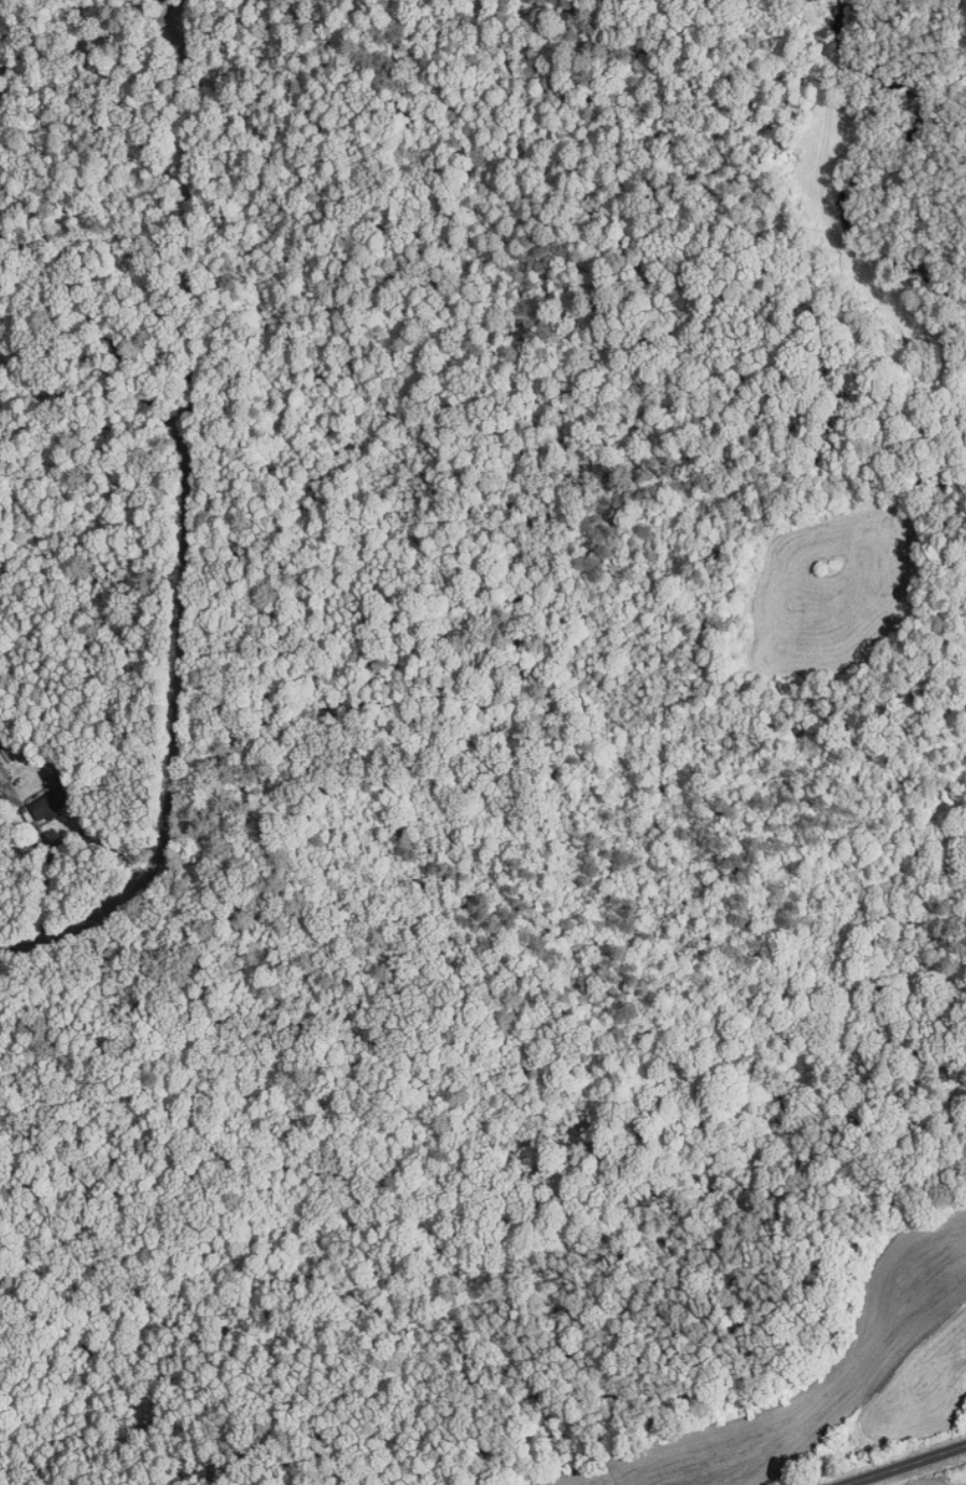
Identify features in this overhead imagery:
road: (173, 16)
road: (197, 204)
road: (105, 324)
road: (186, 751)
building: (41, 798)
road: (908, 1466)

